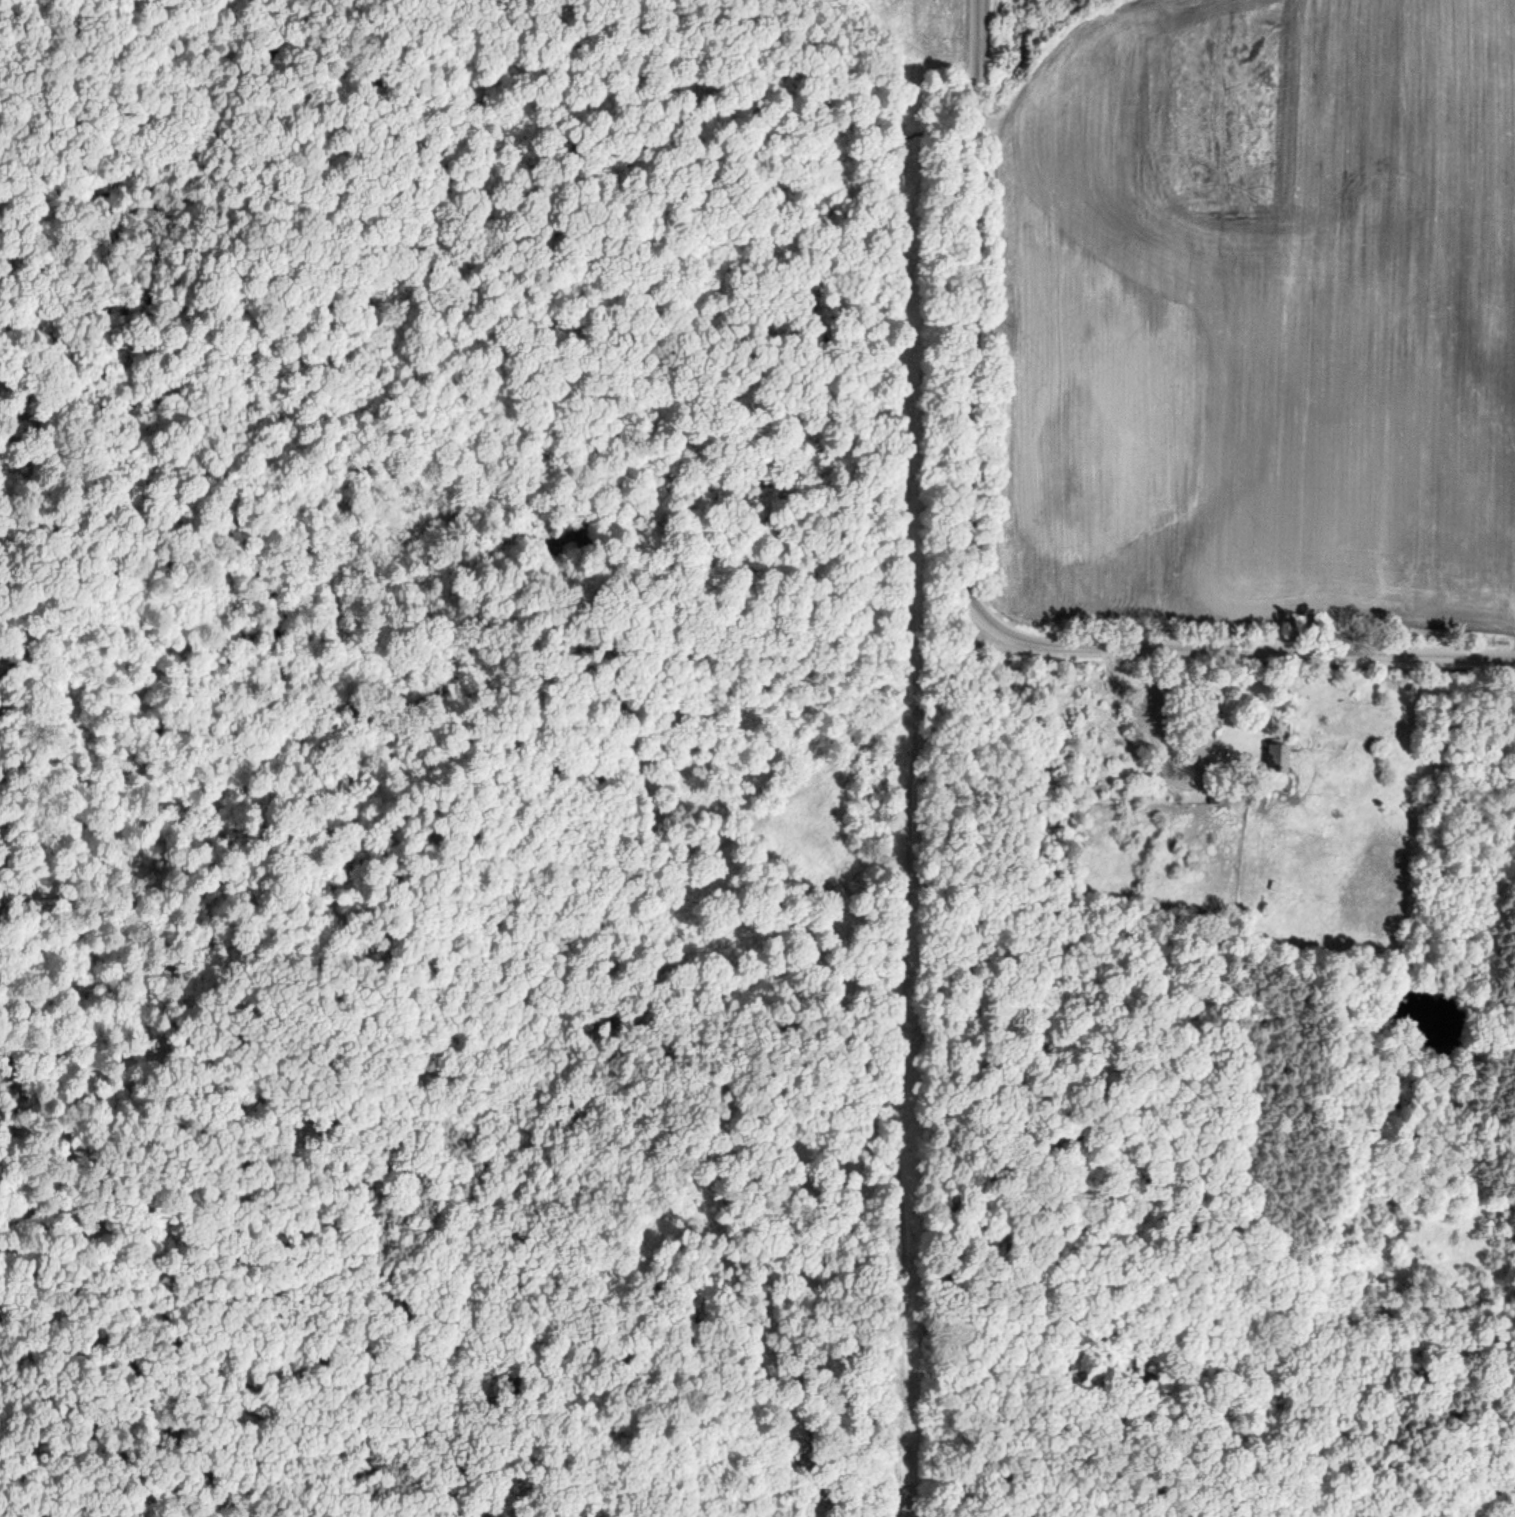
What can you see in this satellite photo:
road: (964, 305)
road: (1238, 636)
building: (1203, 714)
building: (1274, 759)

